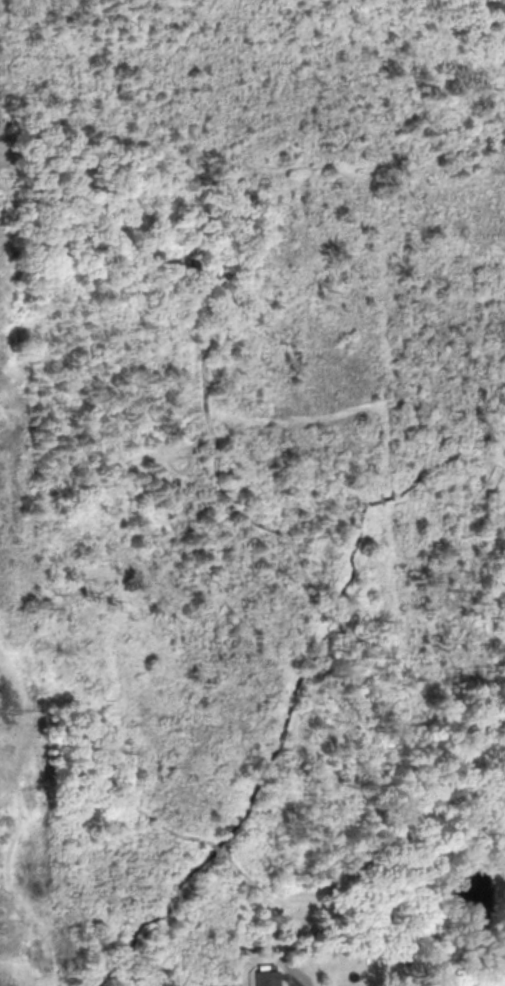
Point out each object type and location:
building: (267, 975)

